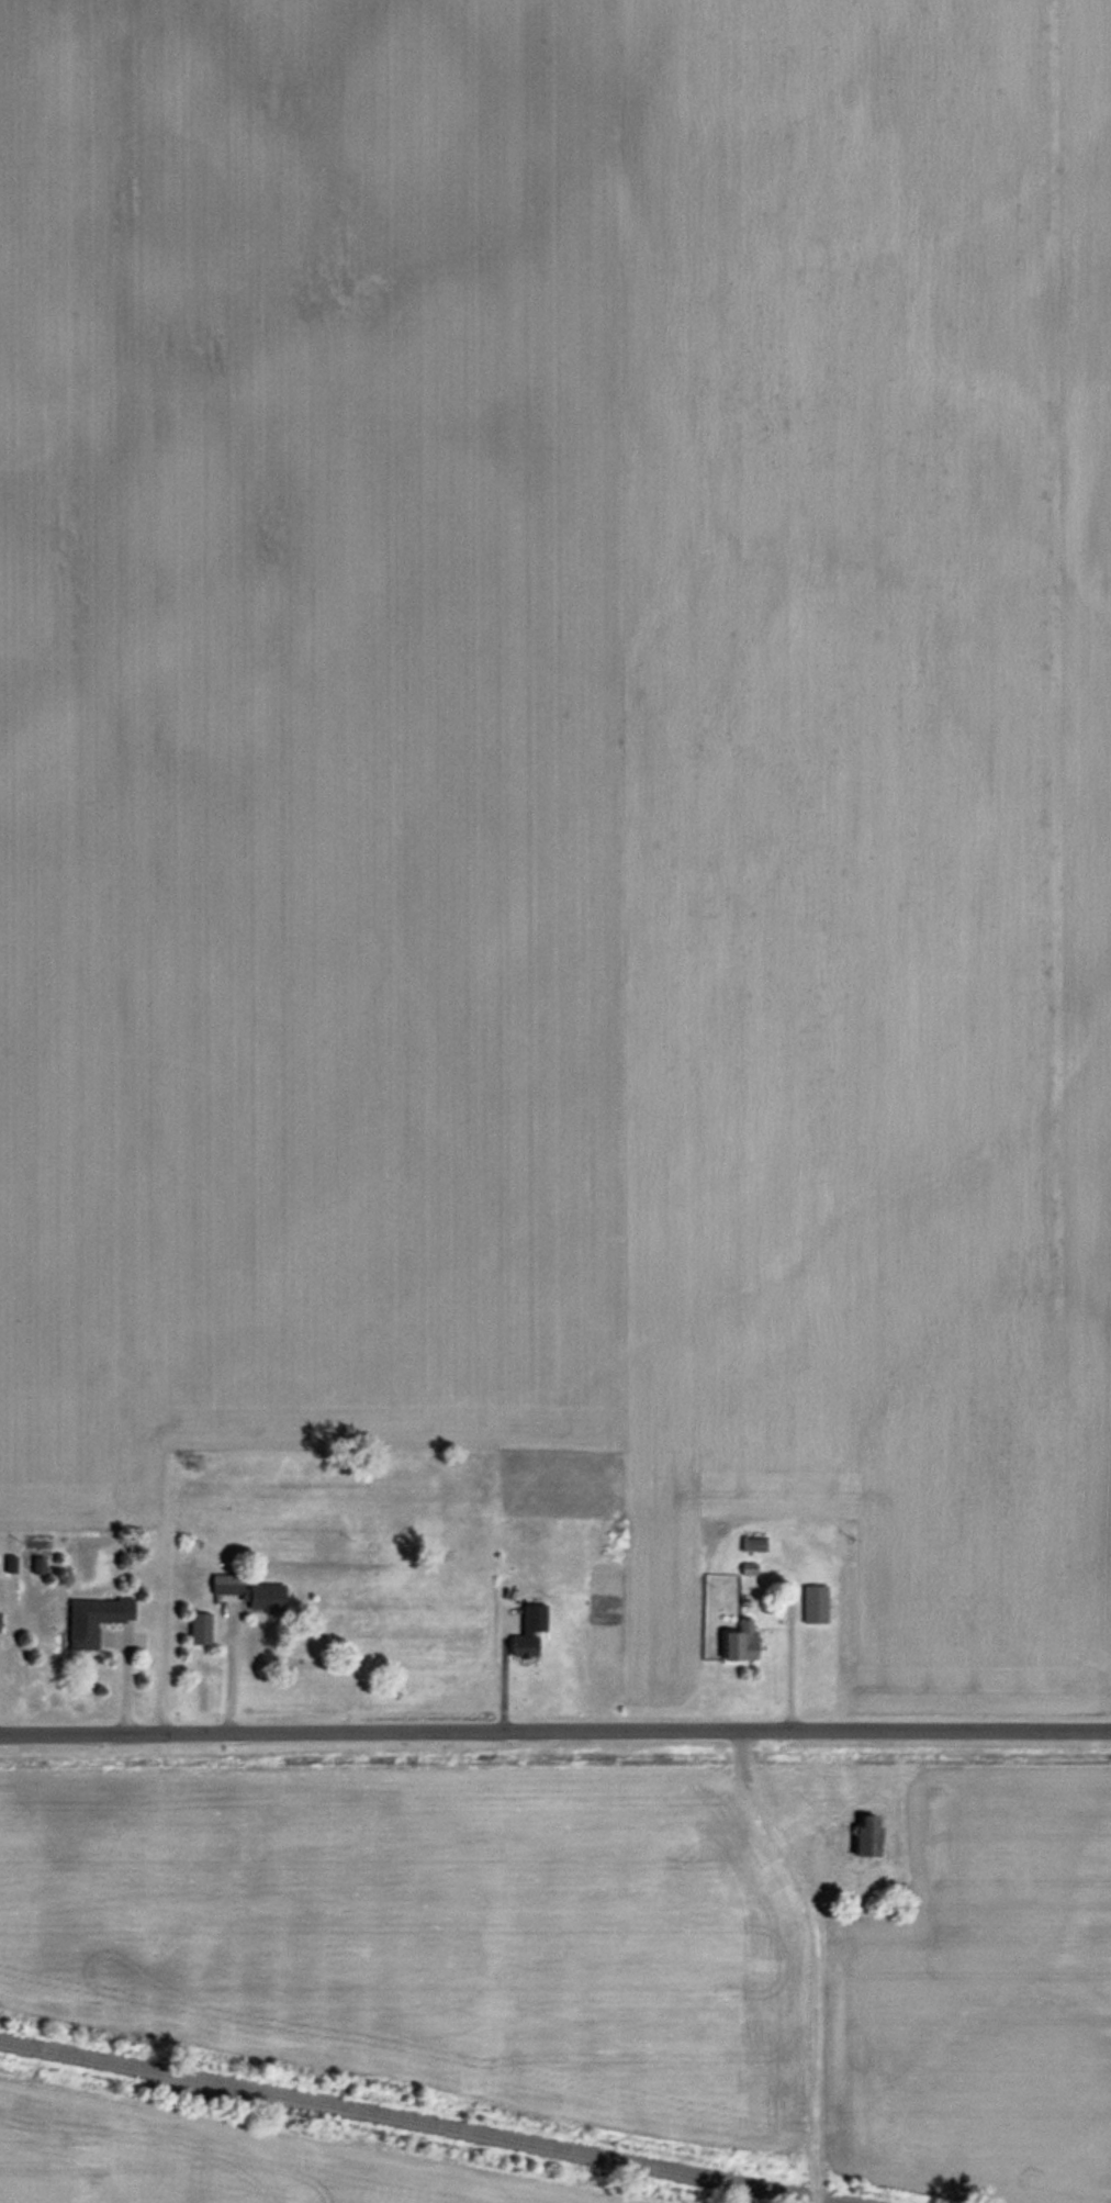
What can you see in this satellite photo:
building: (502, 1583)
building: (247, 1591)
building: (812, 1603)
building: (529, 1611)
building: (92, 1618)
building: (197, 1628)
building: (738, 1641)
building: (519, 1643)
road: (783, 1666)
road: (224, 1673)
road: (555, 1738)
building: (863, 1835)
railway: (423, 2121)

